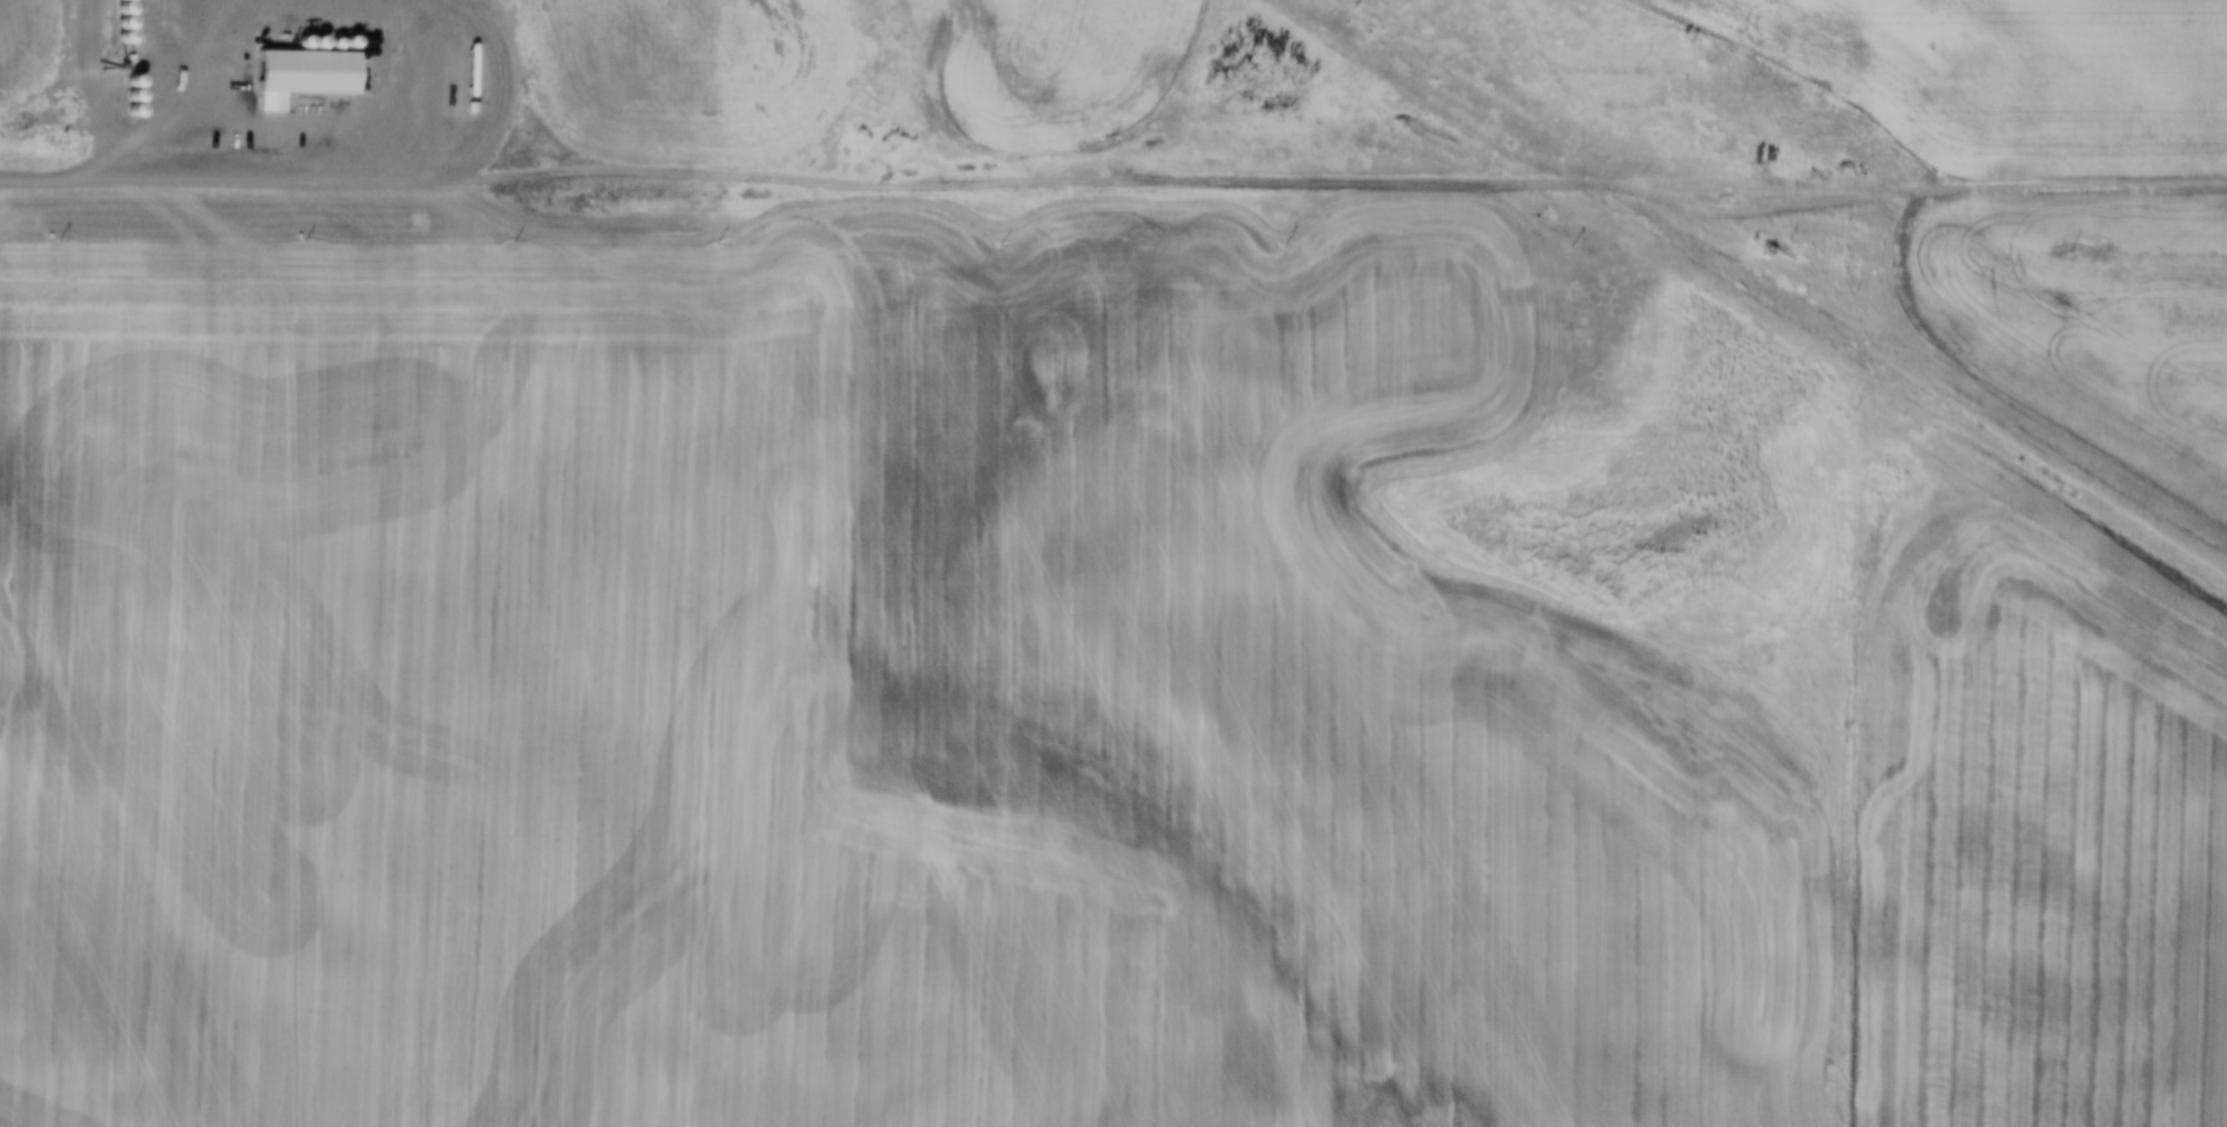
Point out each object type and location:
building: (110, 0)
silo: (110, 0)
building: (110, 9)
silo: (110, 9)
building: (110, 23)
silo: (110, 23)
building: (110, 38)
silo: (110, 38)
storage tank: (322, 43)
storage tank: (338, 43)
storage tank: (308, 44)
storage tank: (263, 45)
storage tank: (272, 45)
storage tank: (283, 45)
storage tank: (294, 45)
building: (125, 46)
silo: (125, 46)
storage tank: (459, 71)
building: (288, 77)
building: (123, 81)
silo: (123, 81)
road: (204, 88)
building: (123, 96)
silo: (123, 96)
building: (458, 108)
building: (124, 111)
silo: (124, 111)
road: (222, 178)
road: (1336, 183)

